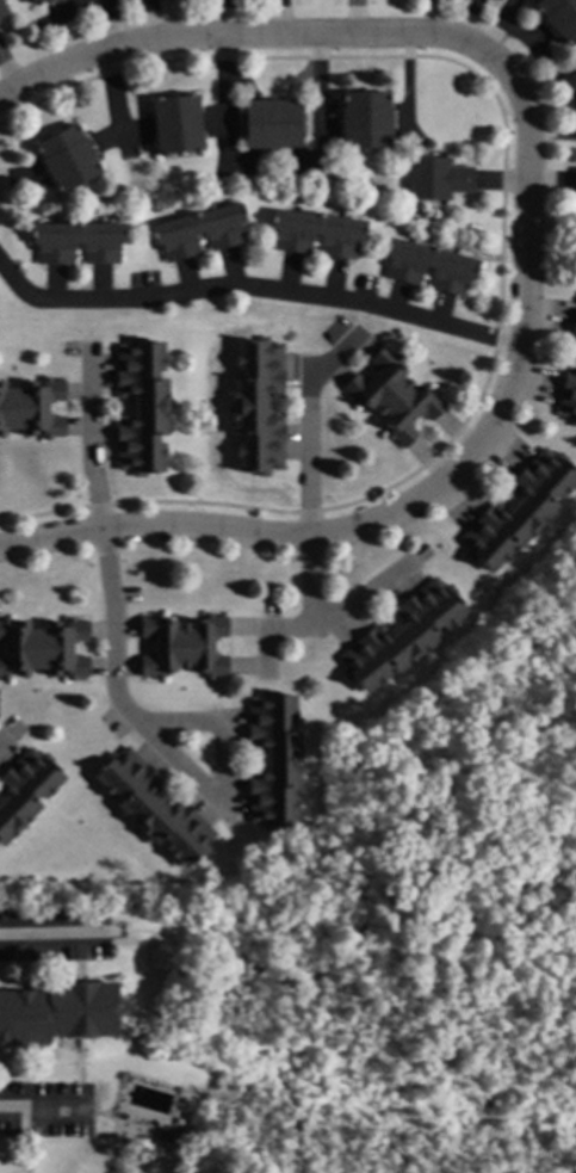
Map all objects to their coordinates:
building: (495, 0)
building: (37, 1)
building: (2, 10)
building: (559, 18)
road: (495, 23)
road: (111, 25)
road: (396, 35)
building: (574, 85)
road: (317, 89)
road: (223, 100)
building: (364, 119)
building: (271, 123)
building: (175, 124)
building: (66, 158)
building: (434, 178)
building: (575, 181)
building: (199, 231)
building: (315, 233)
building: (78, 242)
road: (500, 249)
building: (428, 266)
road: (259, 289)
building: (574, 333)
building: (568, 394)
building: (392, 396)
building: (141, 406)
building: (256, 406)
building: (32, 408)
road: (311, 426)
road: (88, 444)
building: (359, 507)
building: (131, 510)
building: (518, 510)
road: (306, 538)
road: (312, 582)
road: (318, 623)
building: (401, 635)
building: (182, 646)
building: (42, 648)
road: (169, 752)
building: (272, 759)
building: (24, 789)
building: (153, 807)
road: (416, 926)
road: (190, 933)
road: (61, 934)
park: (429, 973)
road: (312, 981)
building: (56, 1013)
road: (275, 1057)
building: (178, 1109)
road: (30, 1110)
road: (292, 1118)

